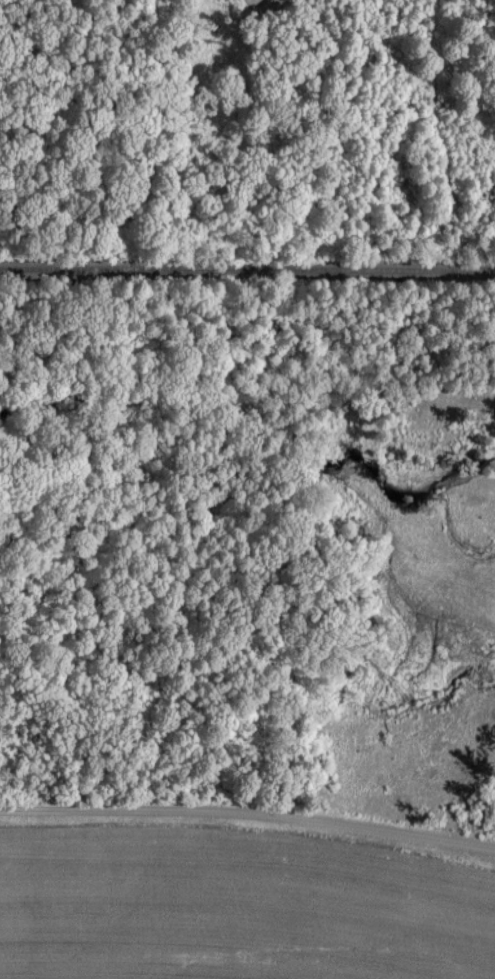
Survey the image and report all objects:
railway: (247, 269)
road: (248, 809)

